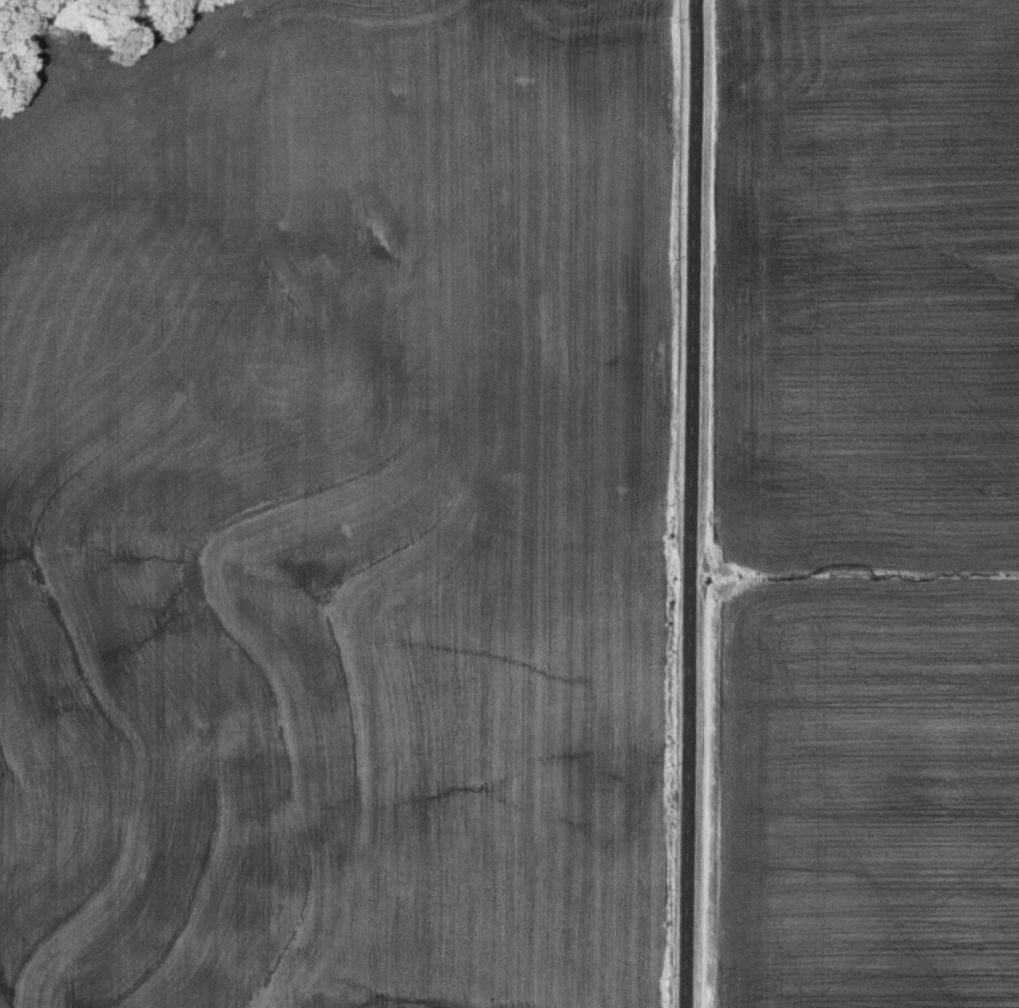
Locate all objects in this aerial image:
road: (689, 503)

